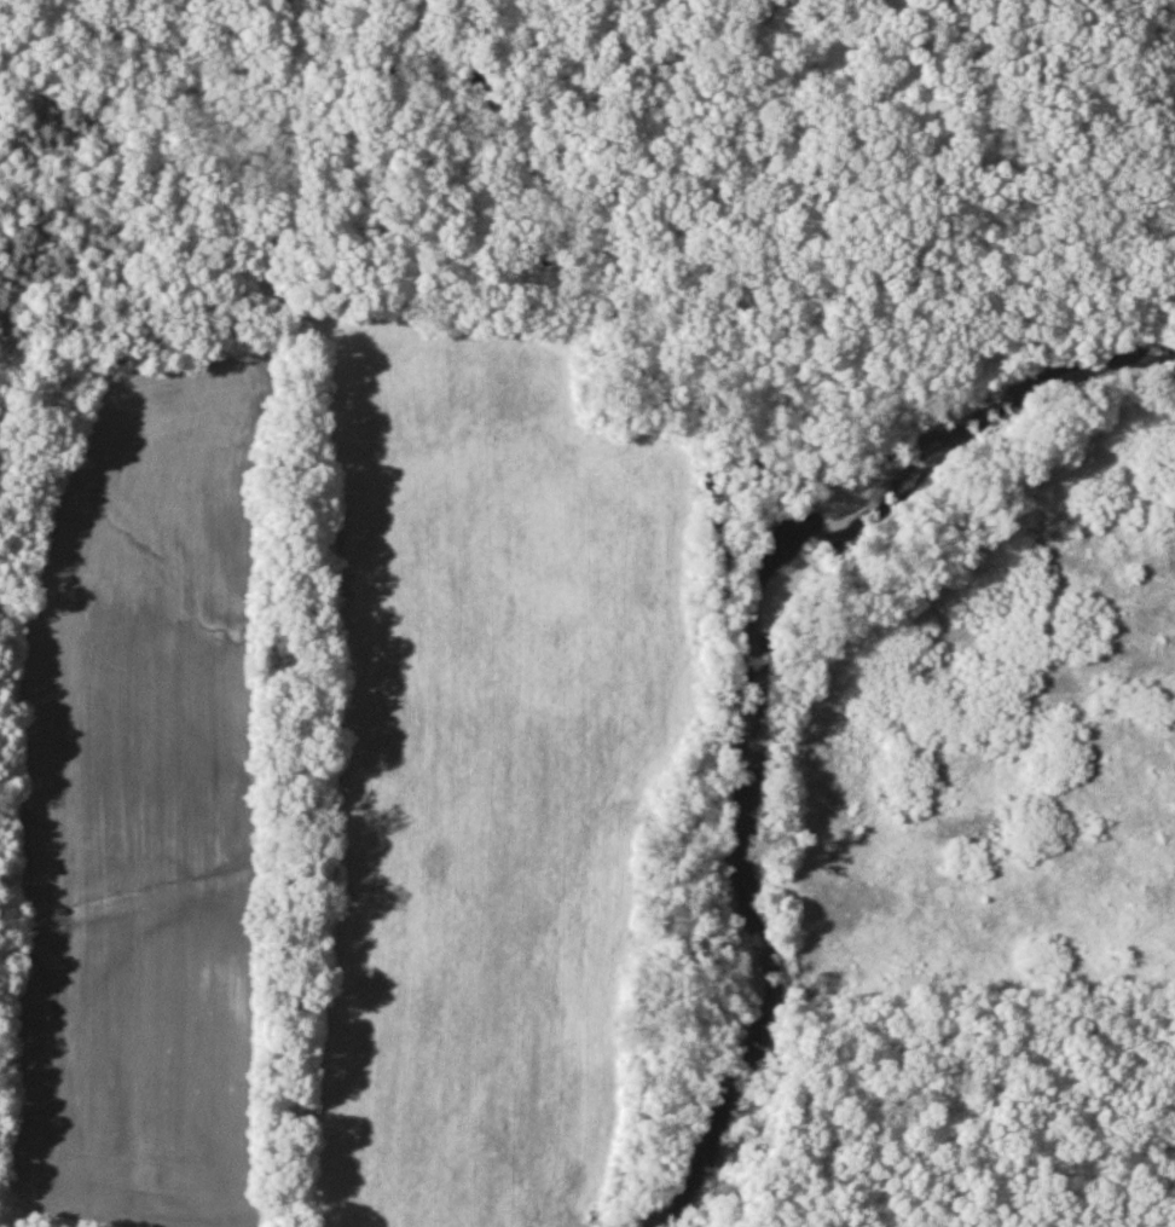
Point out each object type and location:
river: (741, 627)

